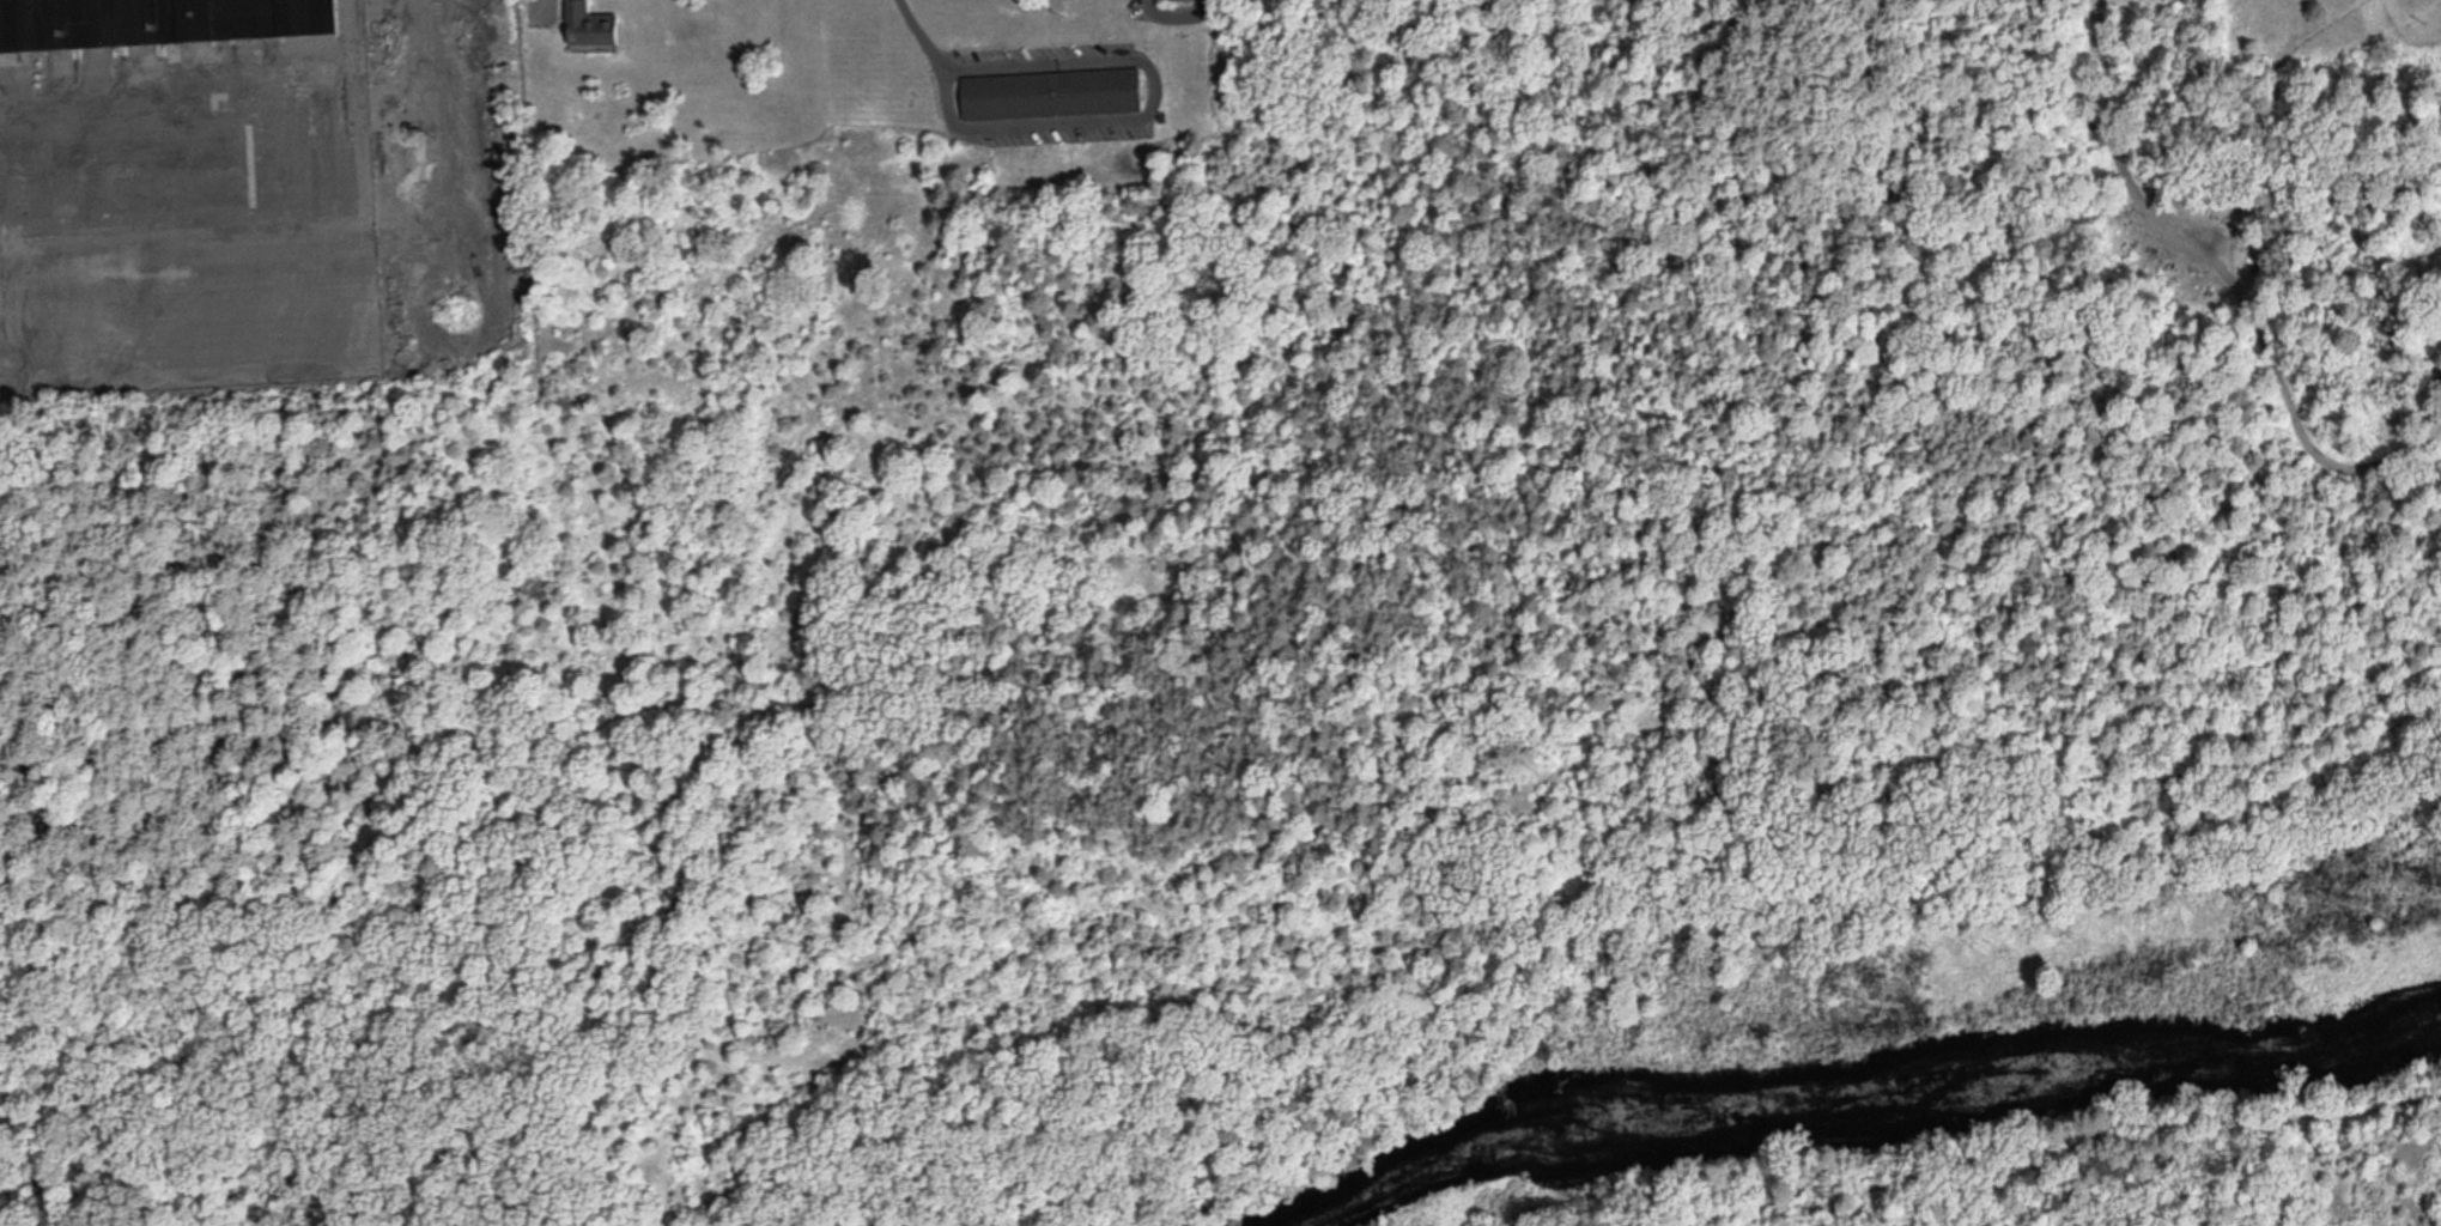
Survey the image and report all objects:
road: (1177, 16)
building: (157, 20)
building: (589, 24)
road: (927, 36)
building: (1049, 91)
road: (1147, 113)
road: (2115, 157)
road: (338, 250)
road: (2233, 284)
building: (2437, 372)
park: (1313, 669)
road: (1307, 740)
river: (1858, 1111)
road: (2095, 1141)

